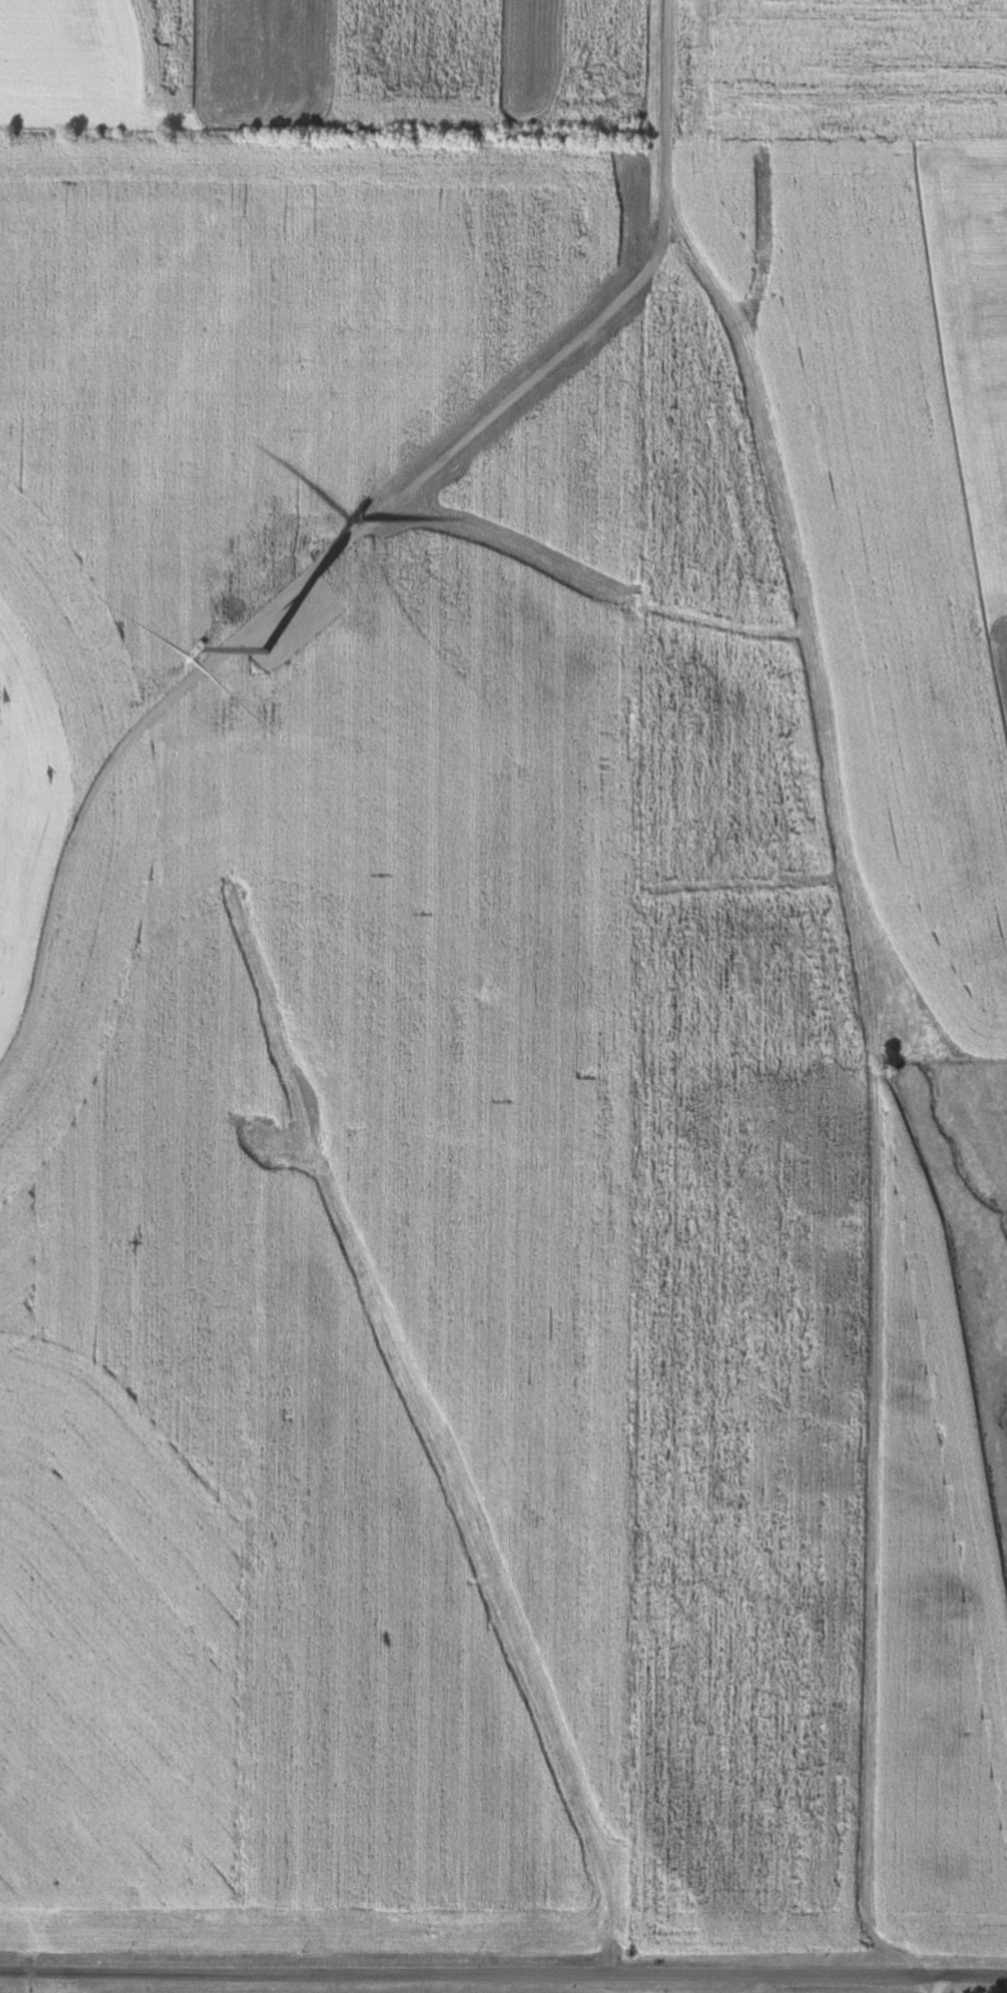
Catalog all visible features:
wind turbine: (275, 644)
road: (503, 1971)
road: (923, 1983)

